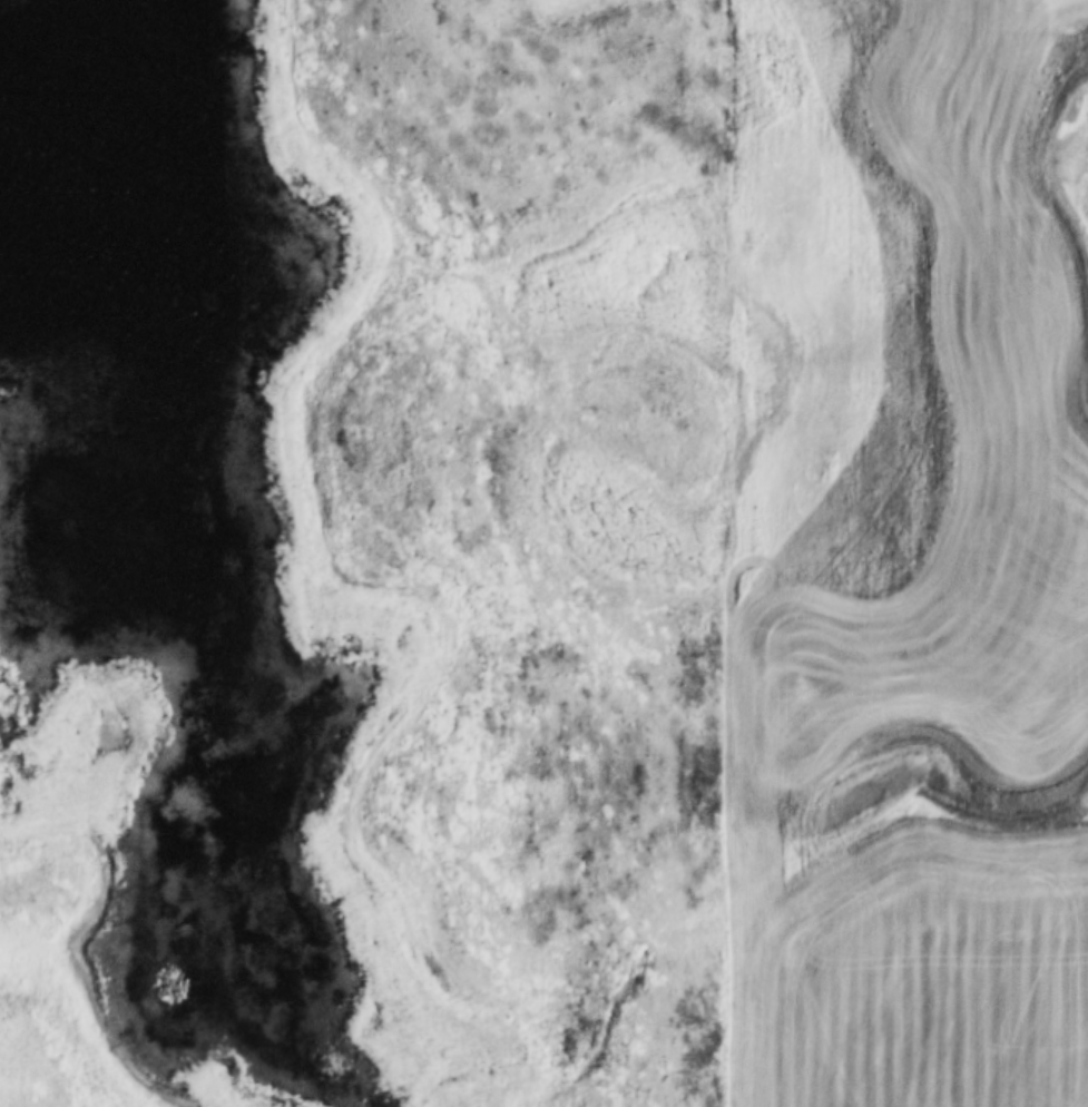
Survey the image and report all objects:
road: (742, 552)

